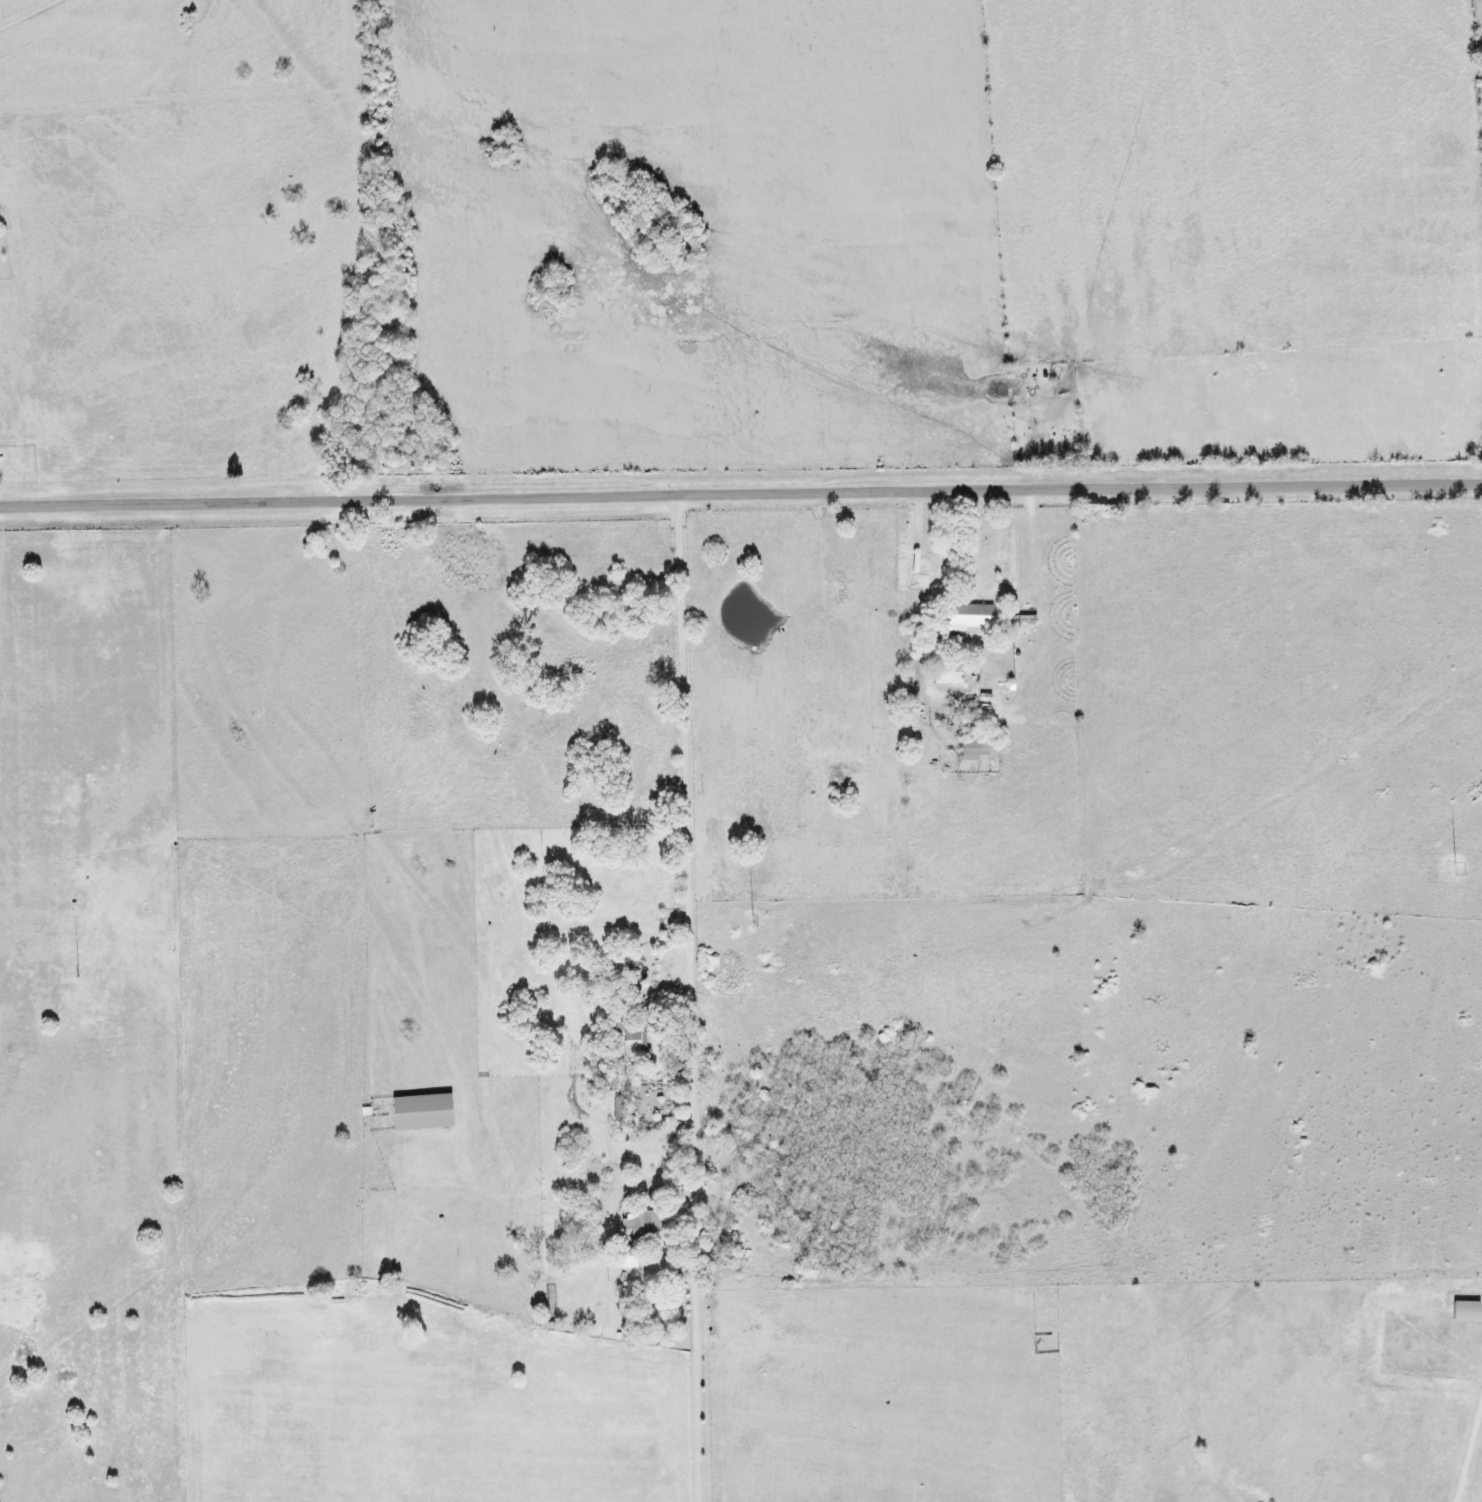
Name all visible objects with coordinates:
road: (740, 490)
building: (965, 616)
building: (943, 673)
building: (975, 747)
road: (688, 846)
power tower: (1452, 869)
power tower: (749, 921)
power tower: (71, 970)
building: (629, 1036)
building: (414, 1111)
building: (615, 1114)
building: (637, 1224)
building: (620, 1257)
building: (1461, 1310)

